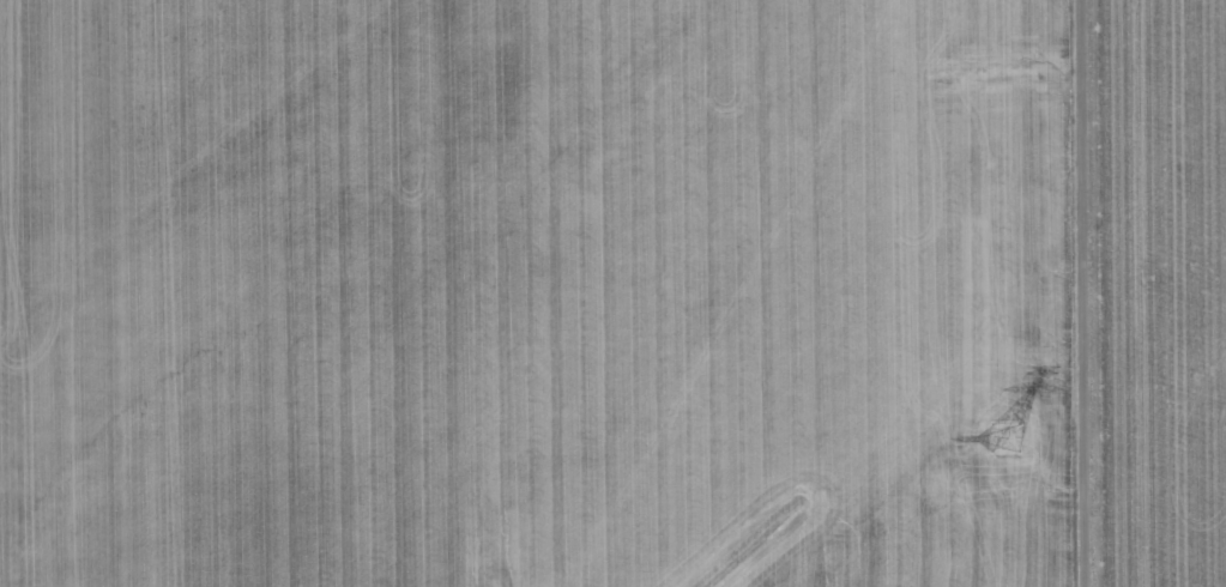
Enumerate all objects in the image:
road: (1088, 293)
power tower: (1002, 438)

